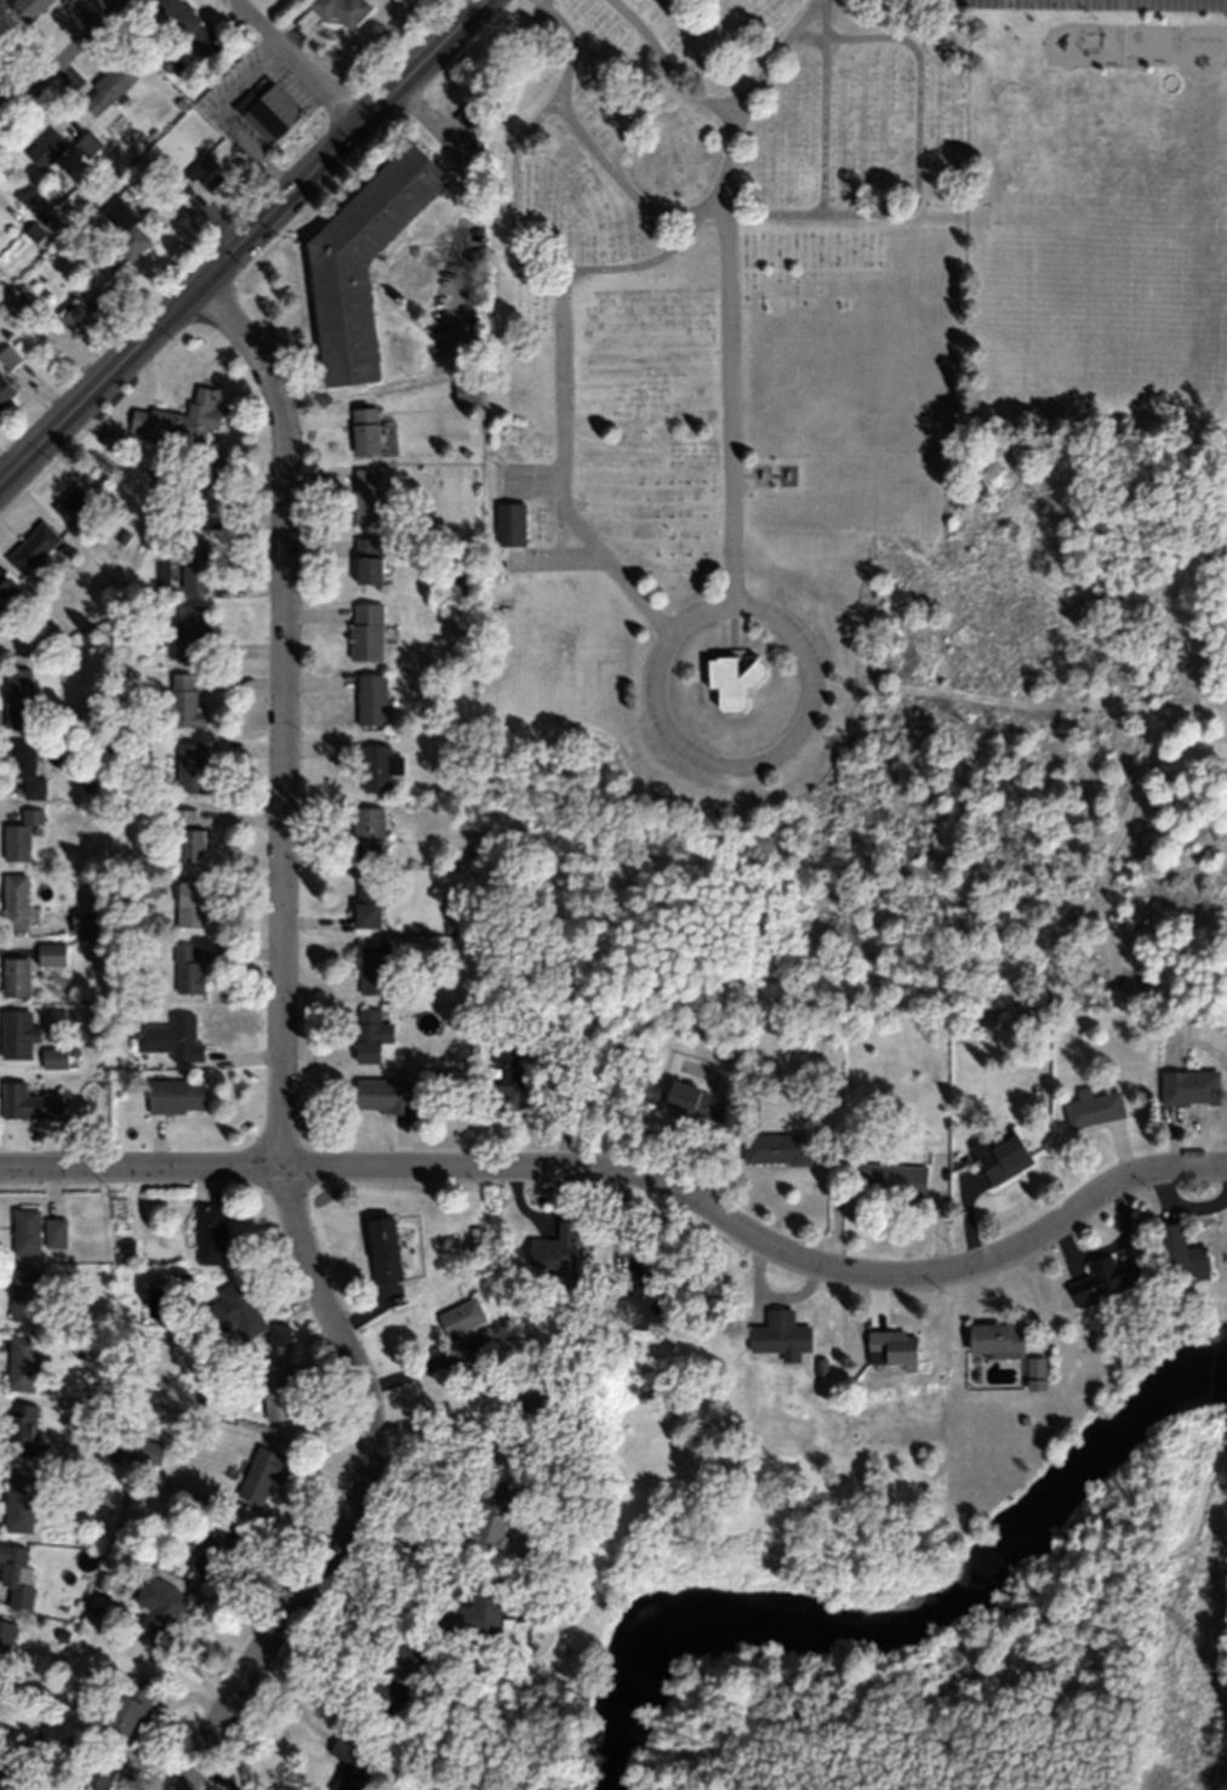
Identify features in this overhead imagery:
building: (28, 7)
building: (341, 10)
building: (190, 24)
road: (67, 65)
road: (293, 65)
road: (673, 67)
building: (108, 89)
building: (268, 110)
building: (89, 144)
building: (47, 148)
building: (206, 176)
road: (514, 195)
building: (36, 204)
road: (667, 210)
building: (131, 241)
road: (245, 244)
building: (365, 244)
building: (97, 274)
building: (13, 301)
building: (82, 315)
building: (8, 357)
road: (564, 387)
building: (5, 391)
building: (467, 391)
road: (729, 399)
building: (179, 418)
building: (365, 432)
building: (209, 483)
building: (367, 496)
building: (73, 503)
building: (509, 523)
building: (34, 547)
building: (369, 560)
building: (194, 564)
park: (816, 568)
building: (7, 586)
building: (0, 610)
road: (686, 620)
building: (194, 631)
building: (366, 631)
building: (734, 661)
building: (18, 697)
building: (372, 699)
building: (186, 702)
building: (18, 758)
building: (193, 768)
building: (378, 768)
building: (35, 788)
building: (369, 833)
building: (21, 836)
building: (188, 836)
building: (15, 901)
building: (190, 903)
building: (369, 903)
building: (82, 922)
building: (51, 953)
building: (375, 968)
building: (187, 970)
building: (16, 976)
building: (18, 1033)
building: (369, 1036)
building: (173, 1038)
building: (55, 1056)
road: (283, 1059)
building: (504, 1077)
building: (1189, 1087)
building: (176, 1095)
building: (383, 1095)
building: (696, 1101)
building: (28, 1102)
building: (1094, 1107)
building: (778, 1150)
building: (1004, 1158)
building: (892, 1179)
road: (637, 1181)
building: (25, 1230)
building: (56, 1231)
building: (211, 1232)
building: (555, 1247)
building: (384, 1249)
building: (1181, 1254)
building: (1105, 1279)
building: (27, 1293)
building: (649, 1299)
building: (246, 1313)
building: (458, 1330)
building: (782, 1334)
building: (997, 1338)
building: (892, 1345)
building: (23, 1361)
building: (1035, 1373)
building: (273, 1387)
building: (535, 1399)
building: (22, 1427)
building: (150, 1453)
building: (261, 1473)
building: (21, 1499)
building: (492, 1513)
building: (213, 1547)
building: (16, 1574)
building: (479, 1608)
building: (159, 1611)
river: (902, 1613)
park: (944, 1624)
power tower: (1187, 1625)
building: (6, 1643)
building: (399, 1676)
building: (127, 1708)
building: (349, 1765)
building: (99, 1768)

